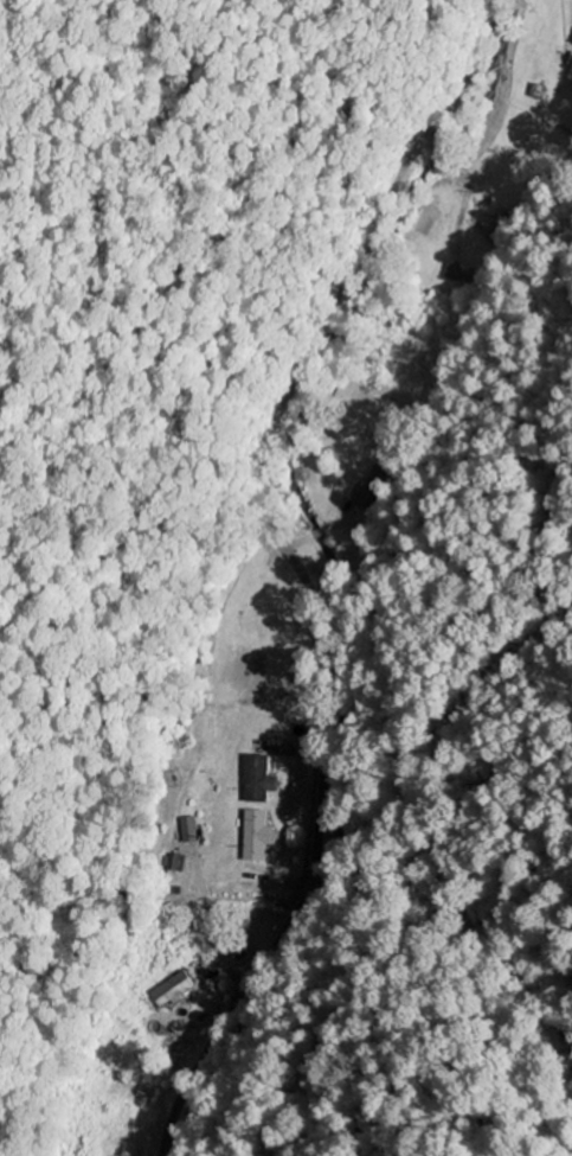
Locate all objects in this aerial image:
building: (570, 63)
building: (571, 78)
building: (495, 229)
road: (294, 568)
building: (263, 779)
building: (191, 830)
building: (259, 836)
building: (174, 990)

